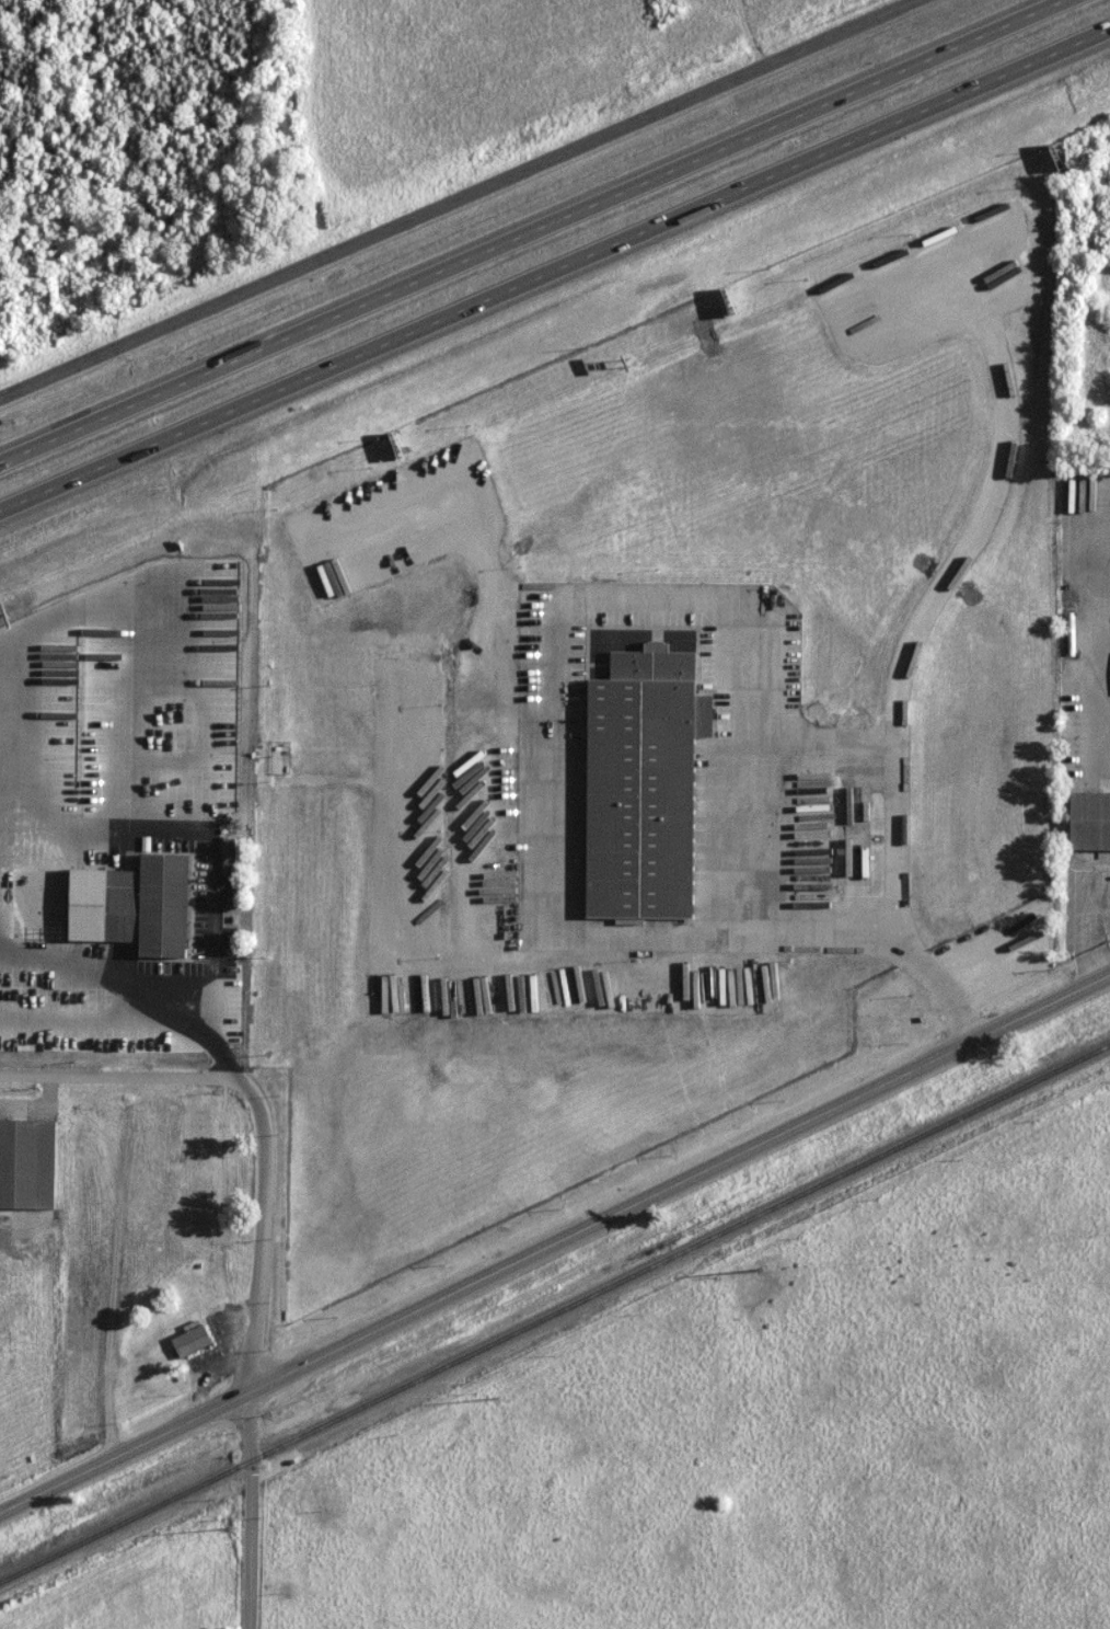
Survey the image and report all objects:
crop: (469, 77)
road: (450, 196)
road: (547, 237)
road: (555, 284)
road: (1094, 642)
road: (542, 736)
building: (644, 785)
building: (1089, 822)
building: (149, 906)
road: (1097, 915)
road: (210, 1039)
building: (27, 1165)
road: (261, 1232)
road: (554, 1242)
railway: (555, 1313)
building: (192, 1342)

